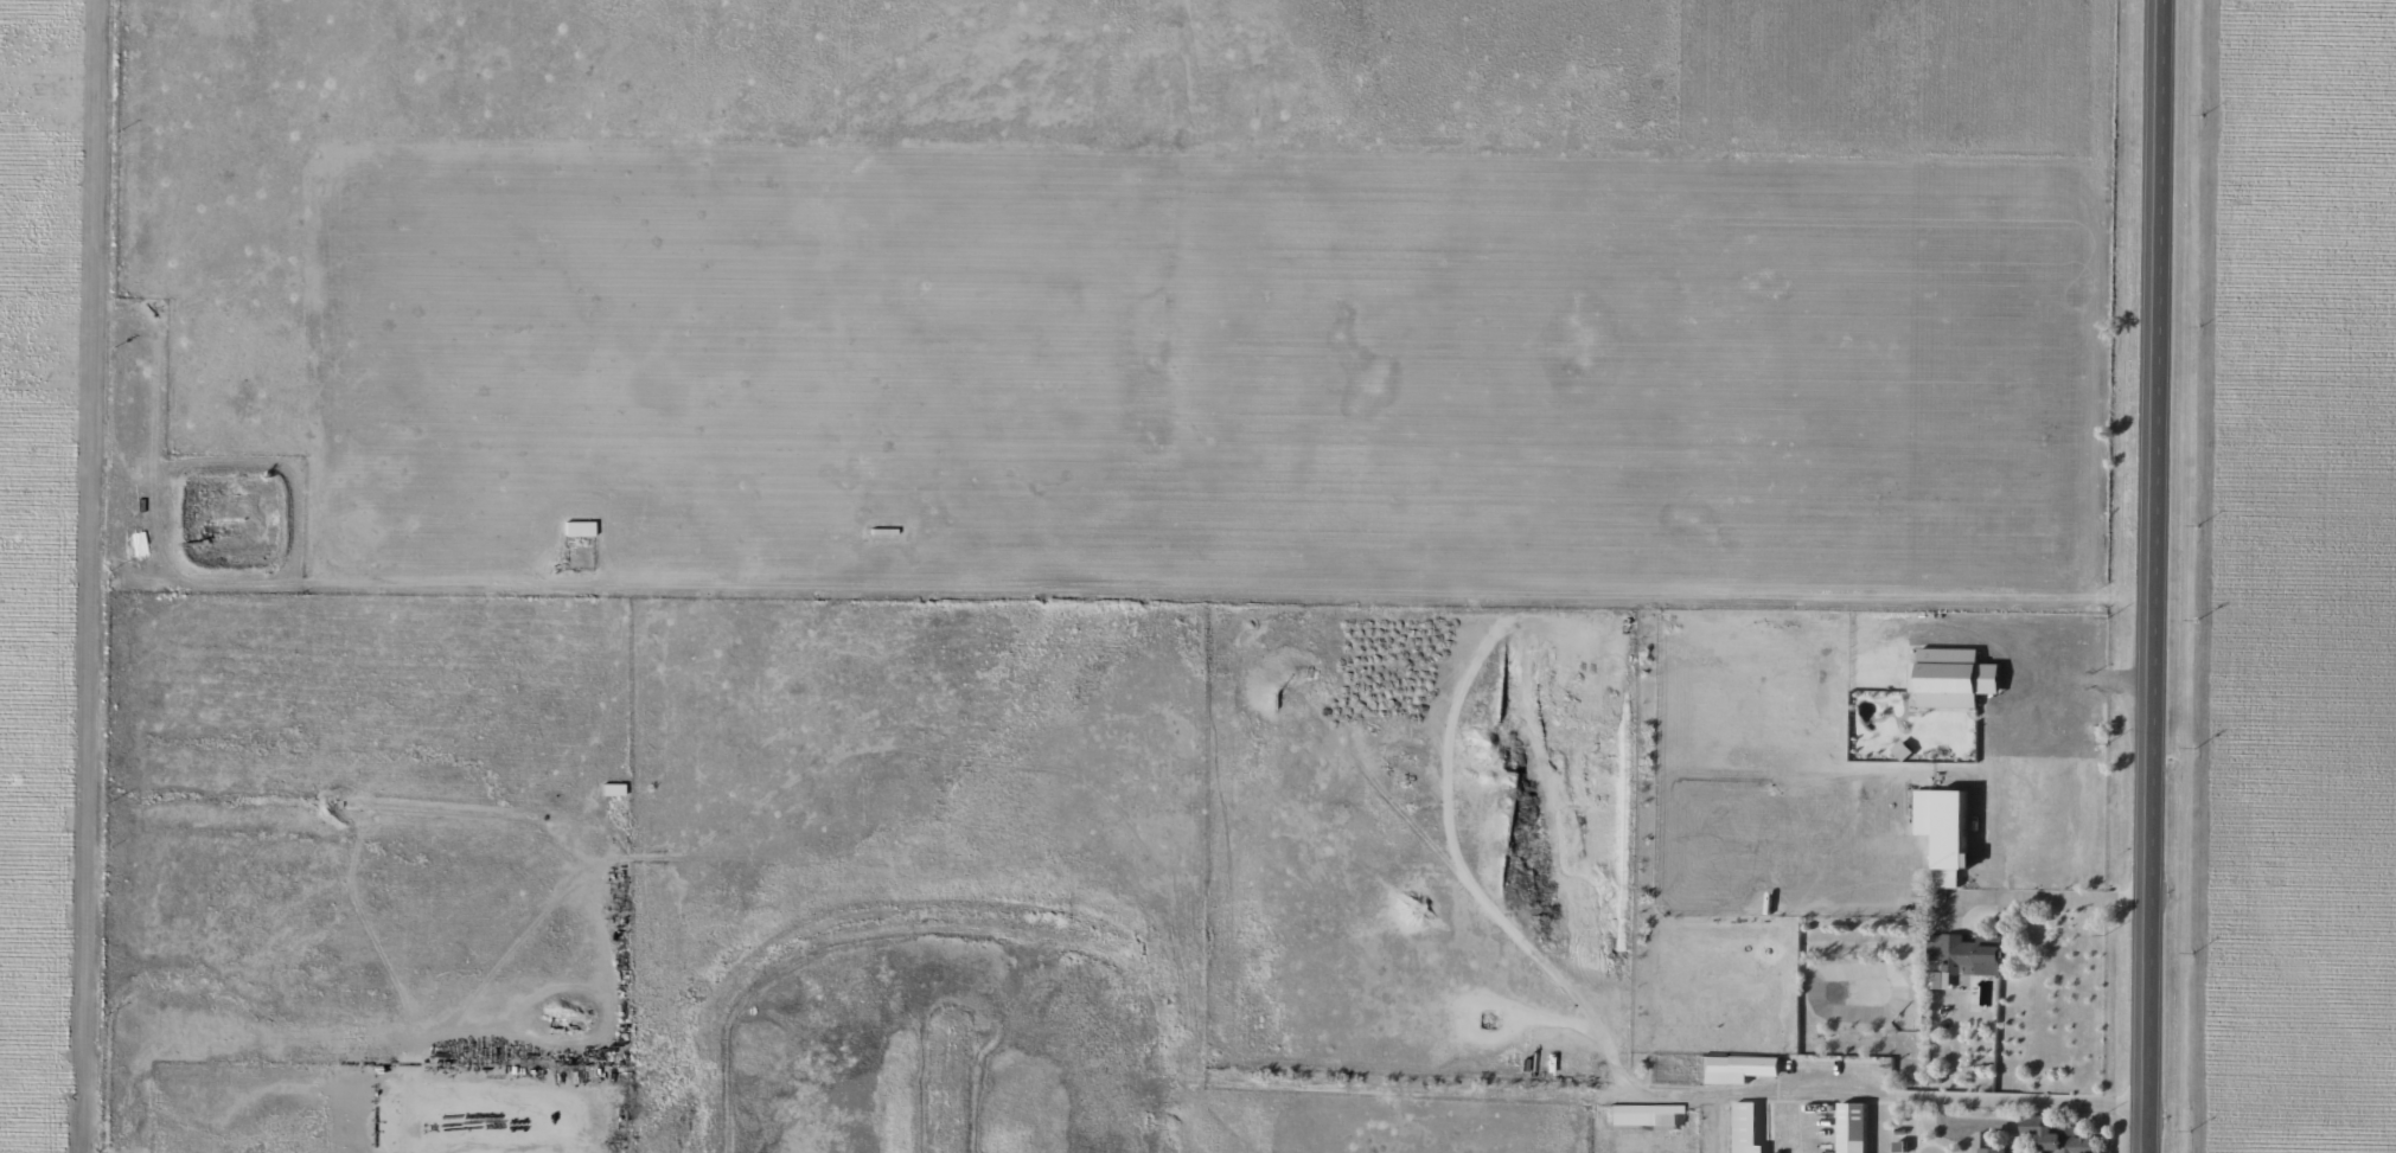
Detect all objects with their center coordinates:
road: (115, 115)
road: (2162, 576)
building: (1950, 677)
road: (98, 692)
building: (1941, 829)
road: (2050, 897)
building: (1957, 959)
building: (1732, 1068)
road: (1742, 1093)
building: (1642, 1114)
building: (1849, 1127)
building: (1743, 1128)
building: (2055, 1138)
building: (1989, 1149)

